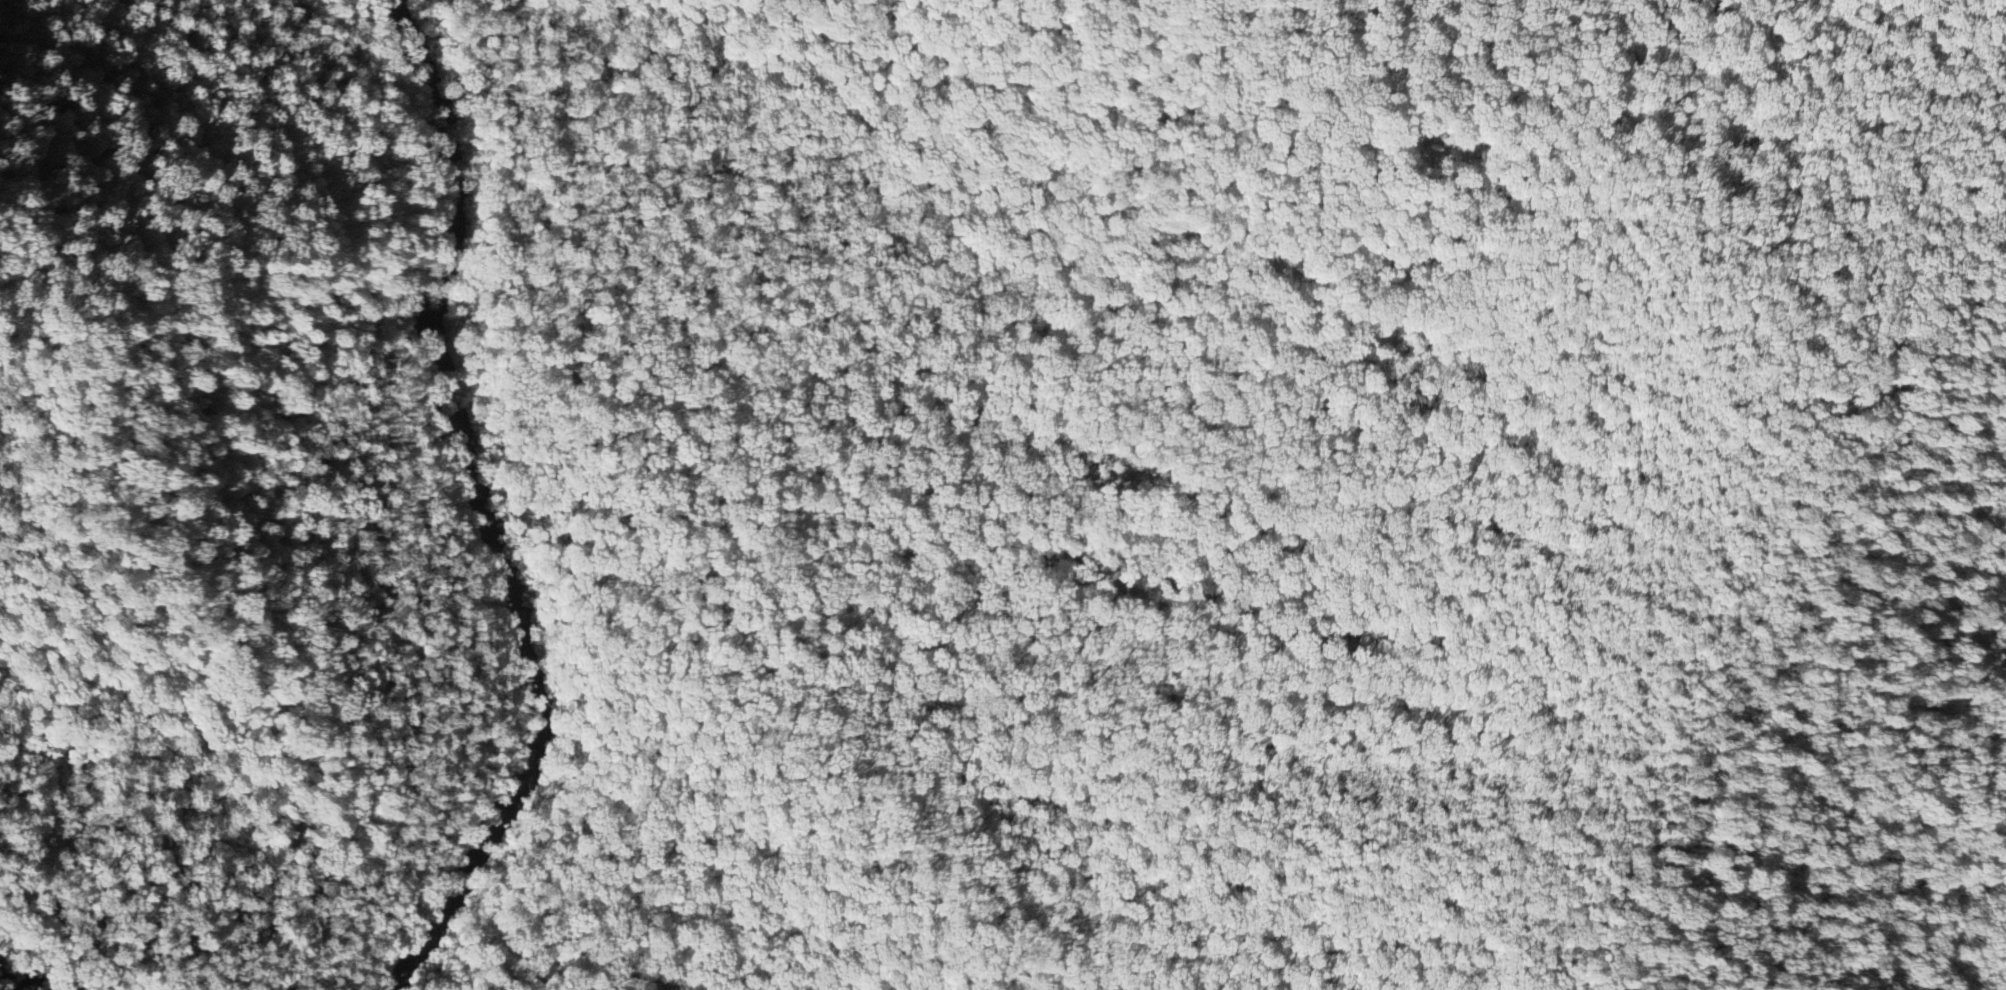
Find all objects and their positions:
river: (475, 509)
river: (9, 986)

